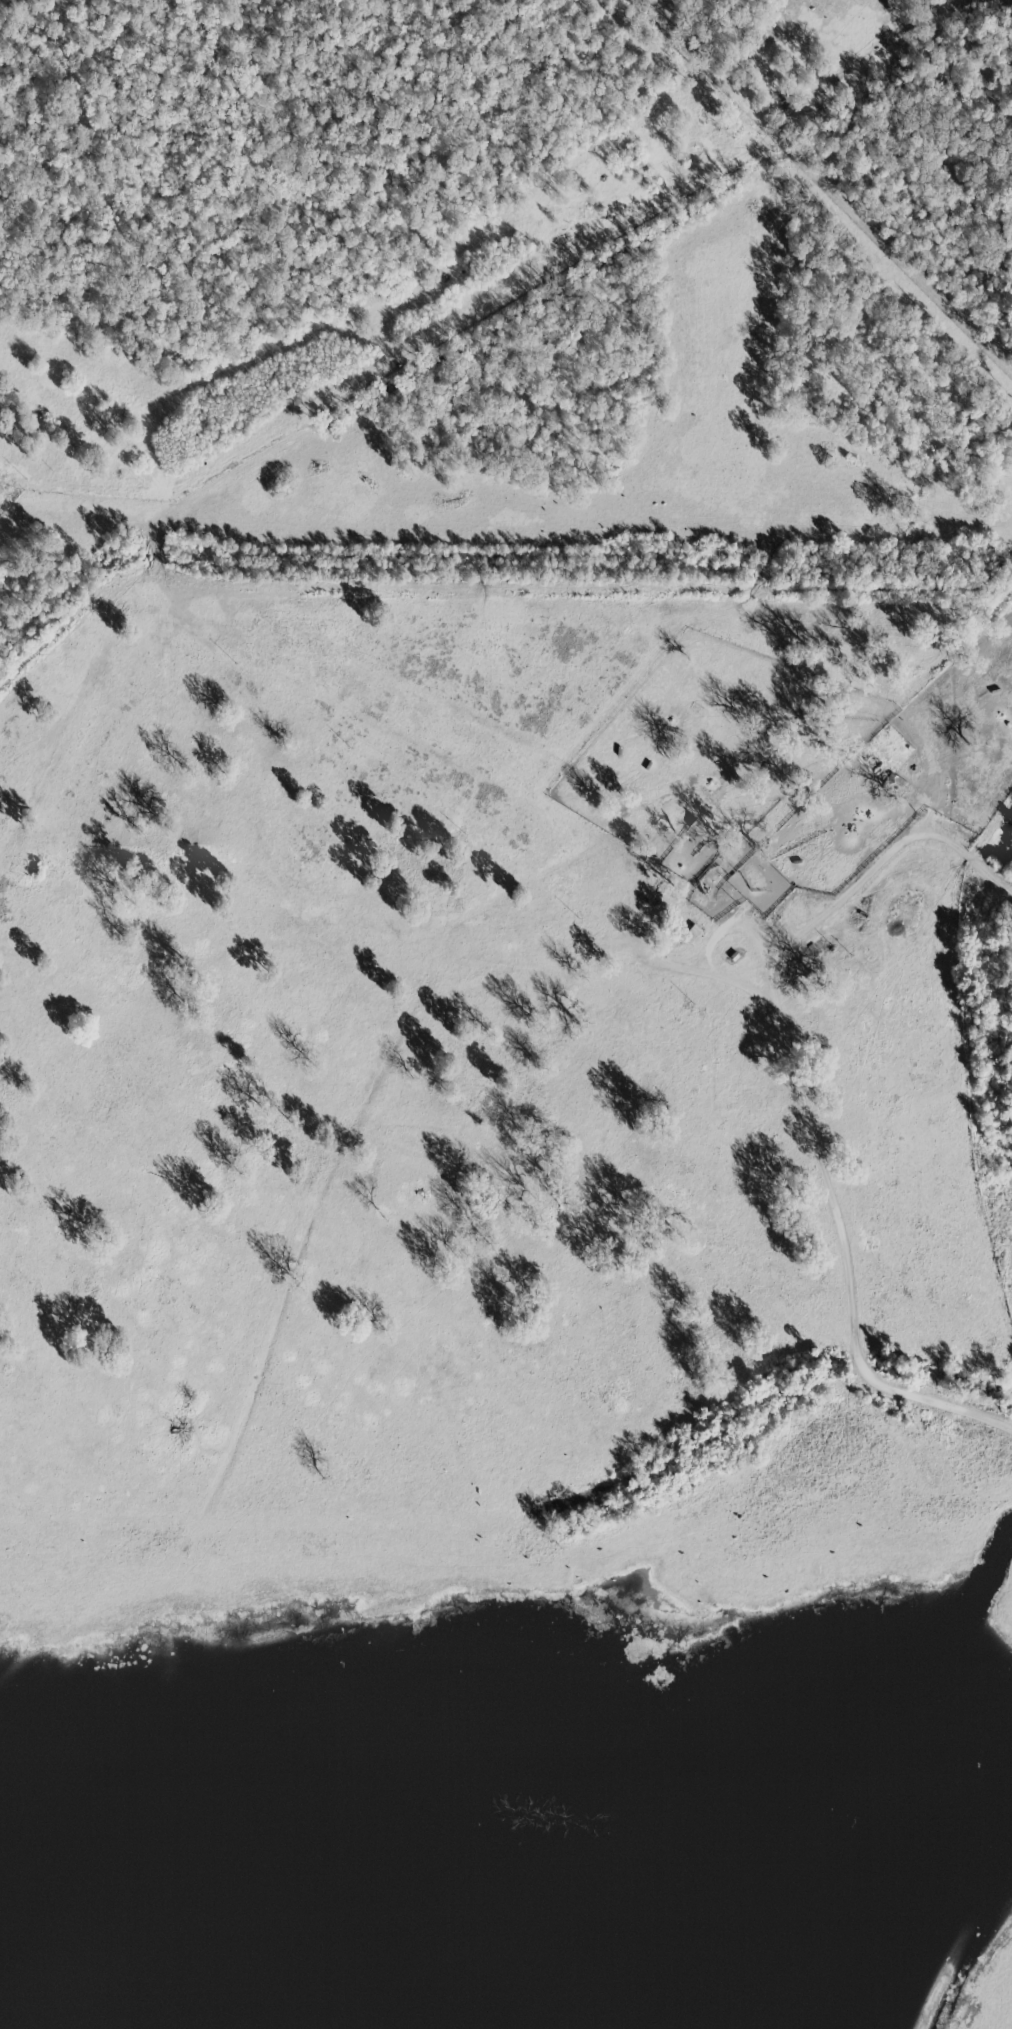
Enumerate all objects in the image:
road: (836, 1239)

